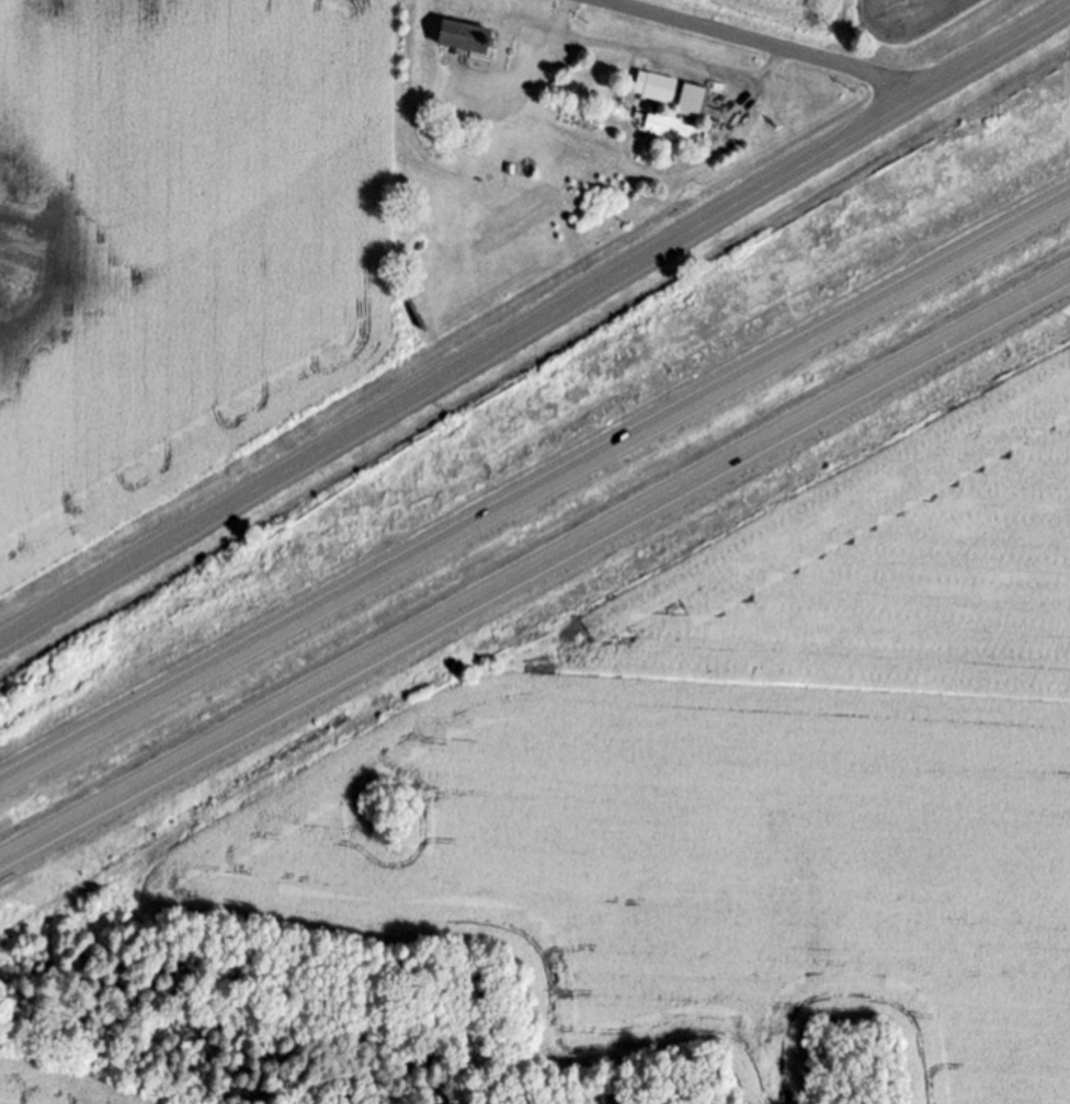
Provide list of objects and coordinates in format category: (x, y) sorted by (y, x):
building: (467, 36)
road: (761, 43)
road: (547, 46)
road: (681, 59)
building: (691, 110)
road: (534, 327)
road: (535, 493)
road: (535, 572)

